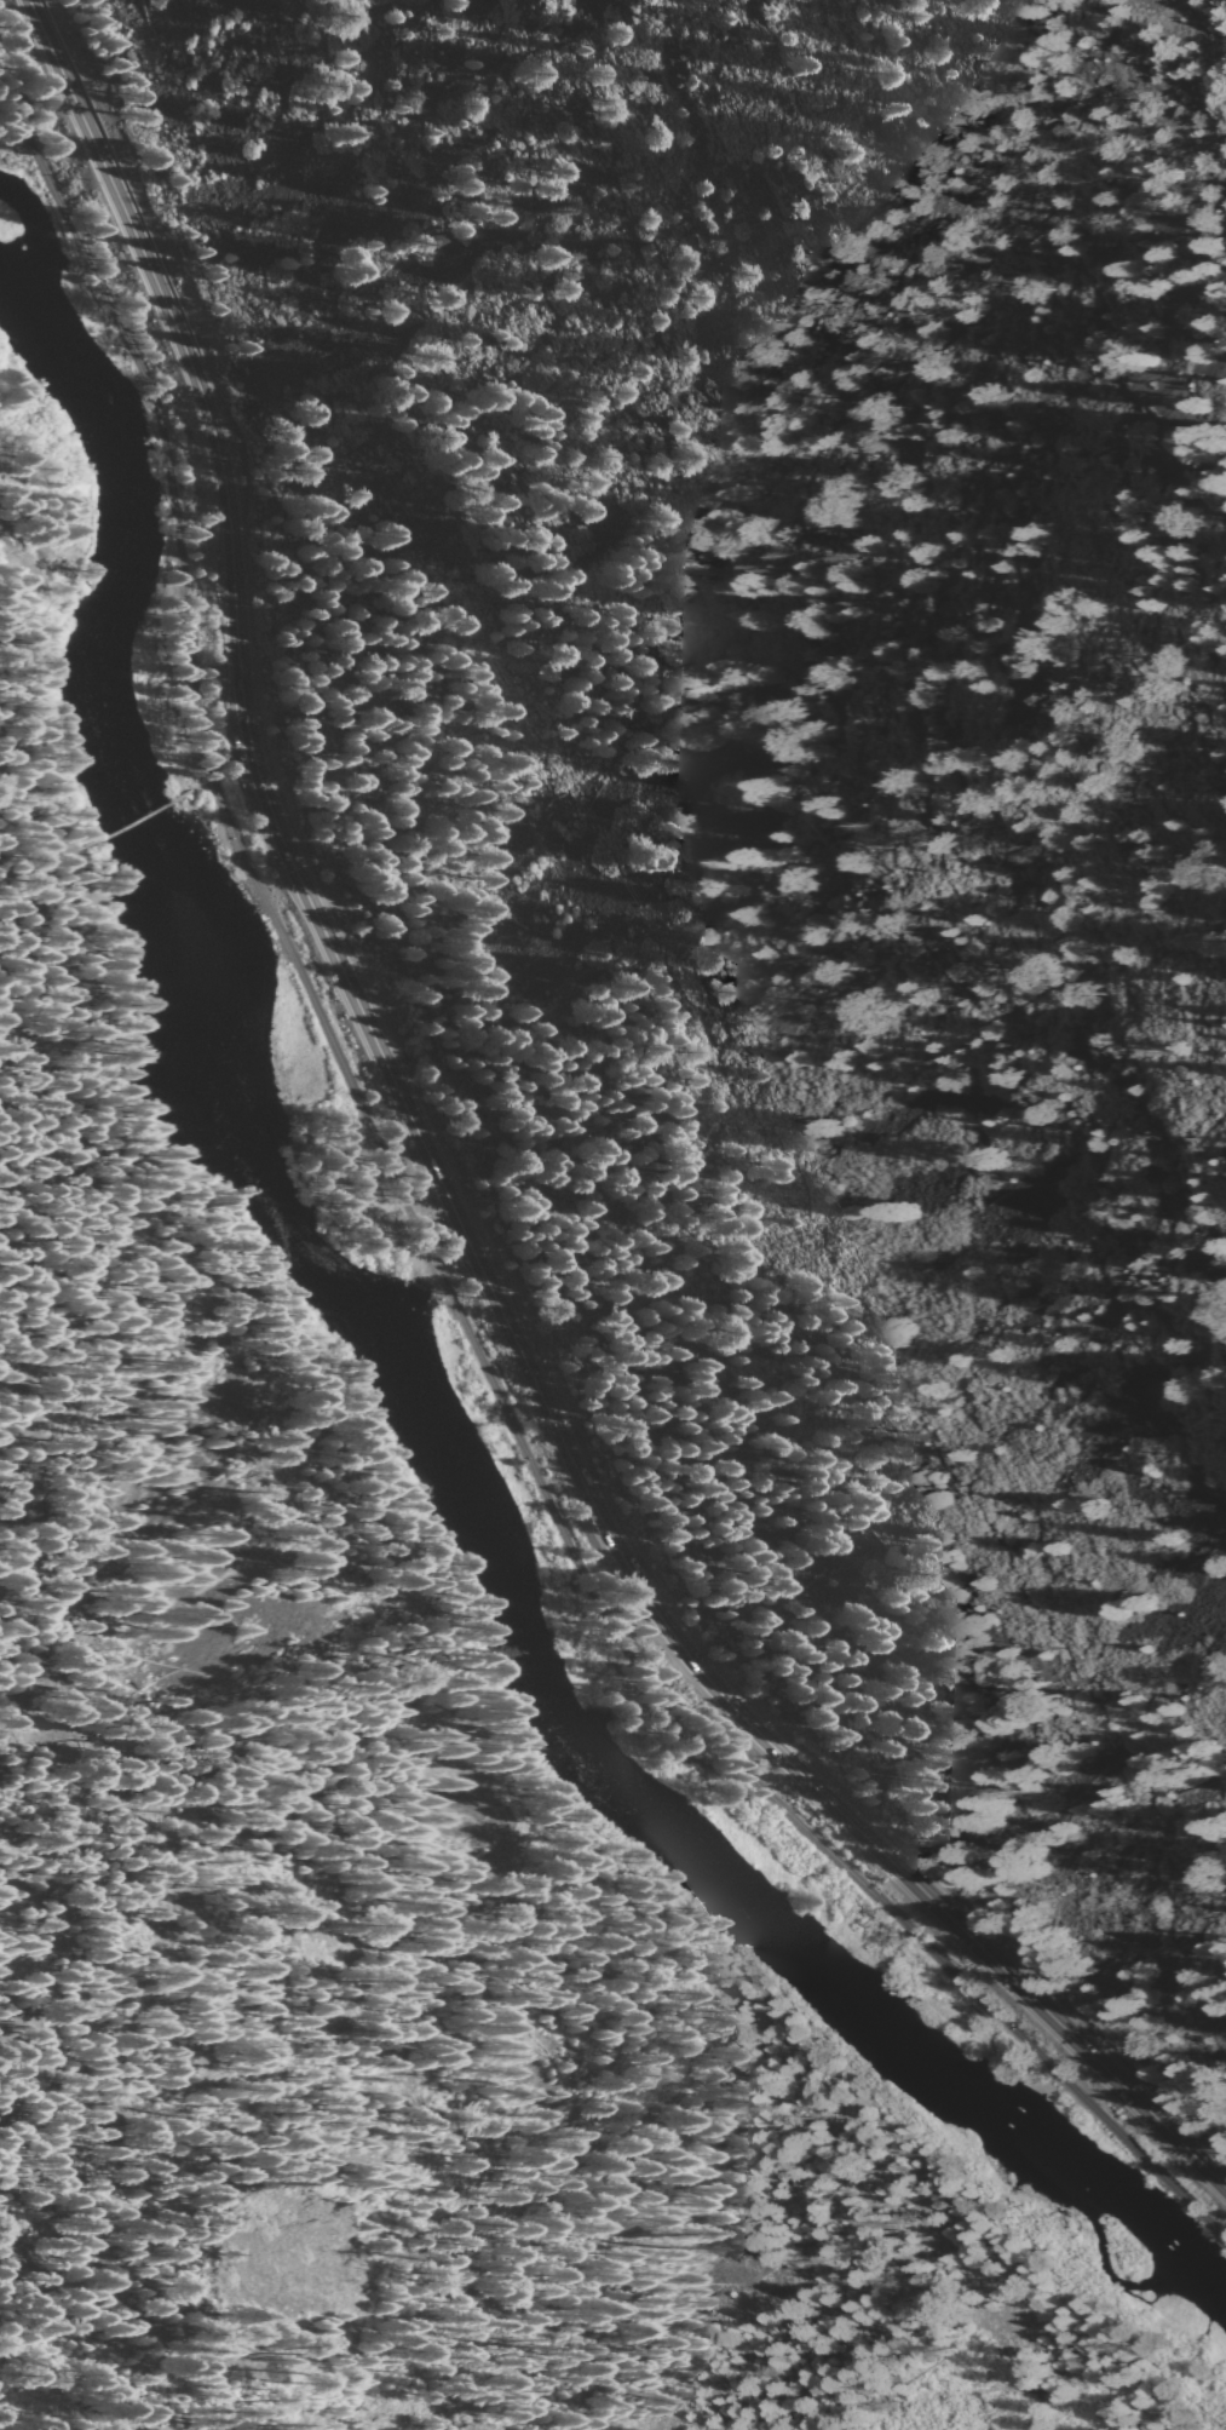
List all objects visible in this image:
road: (1165, 46)
road: (201, 786)
power tower: (583, 816)
road: (33, 818)
road: (138, 820)
road: (278, 887)
power tower: (677, 980)
power tower: (770, 1138)
road: (447, 1196)
road: (430, 1260)
power tower: (867, 1304)
river: (407, 1392)
power tower: (974, 1487)
road: (396, 1574)
power tower: (1071, 1650)
power tower: (1179, 1832)

